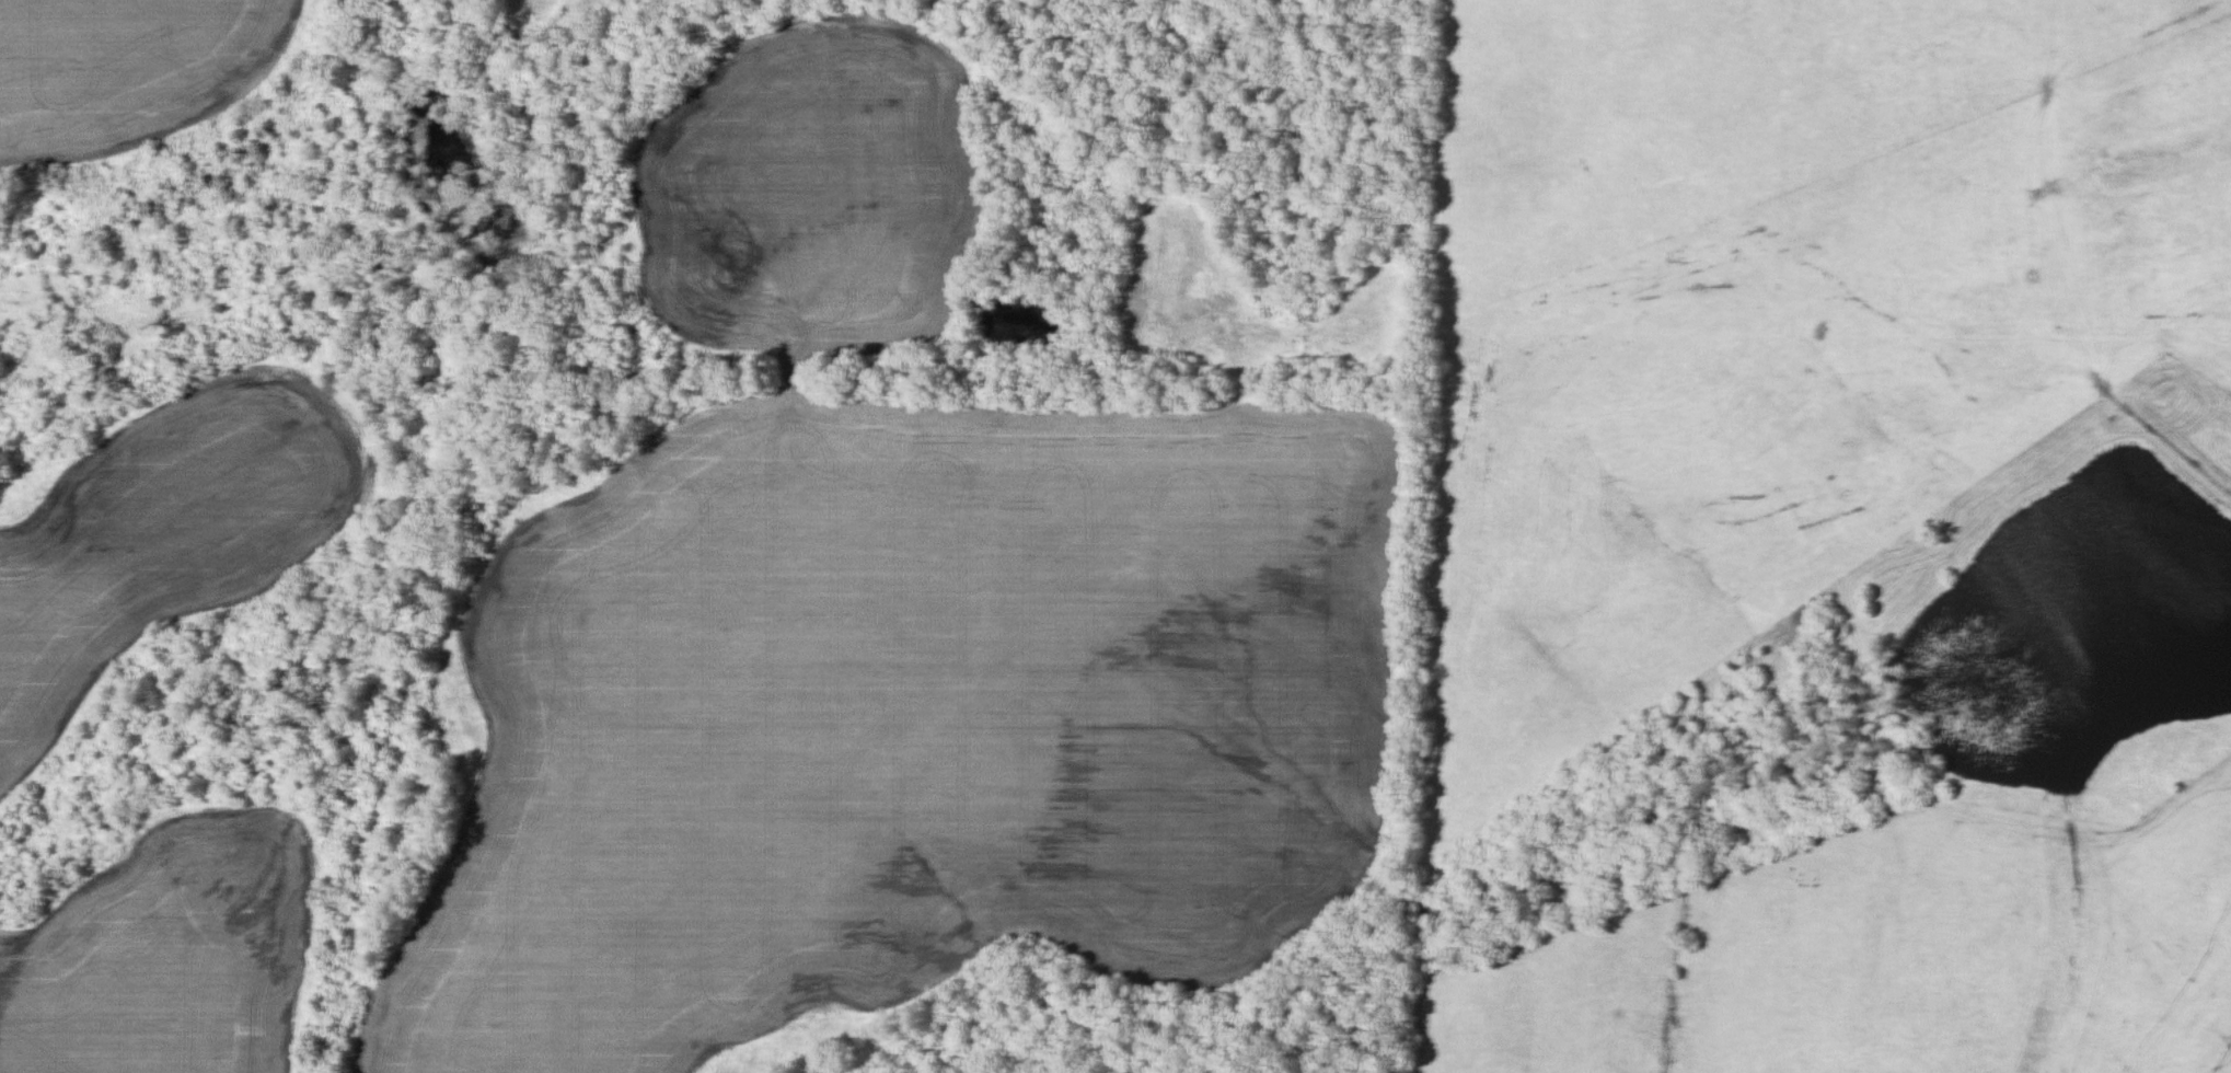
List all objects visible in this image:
crop: (126, 71)
crop: (166, 536)
crop: (880, 634)
crop: (166, 949)
crop: (983, 1072)

